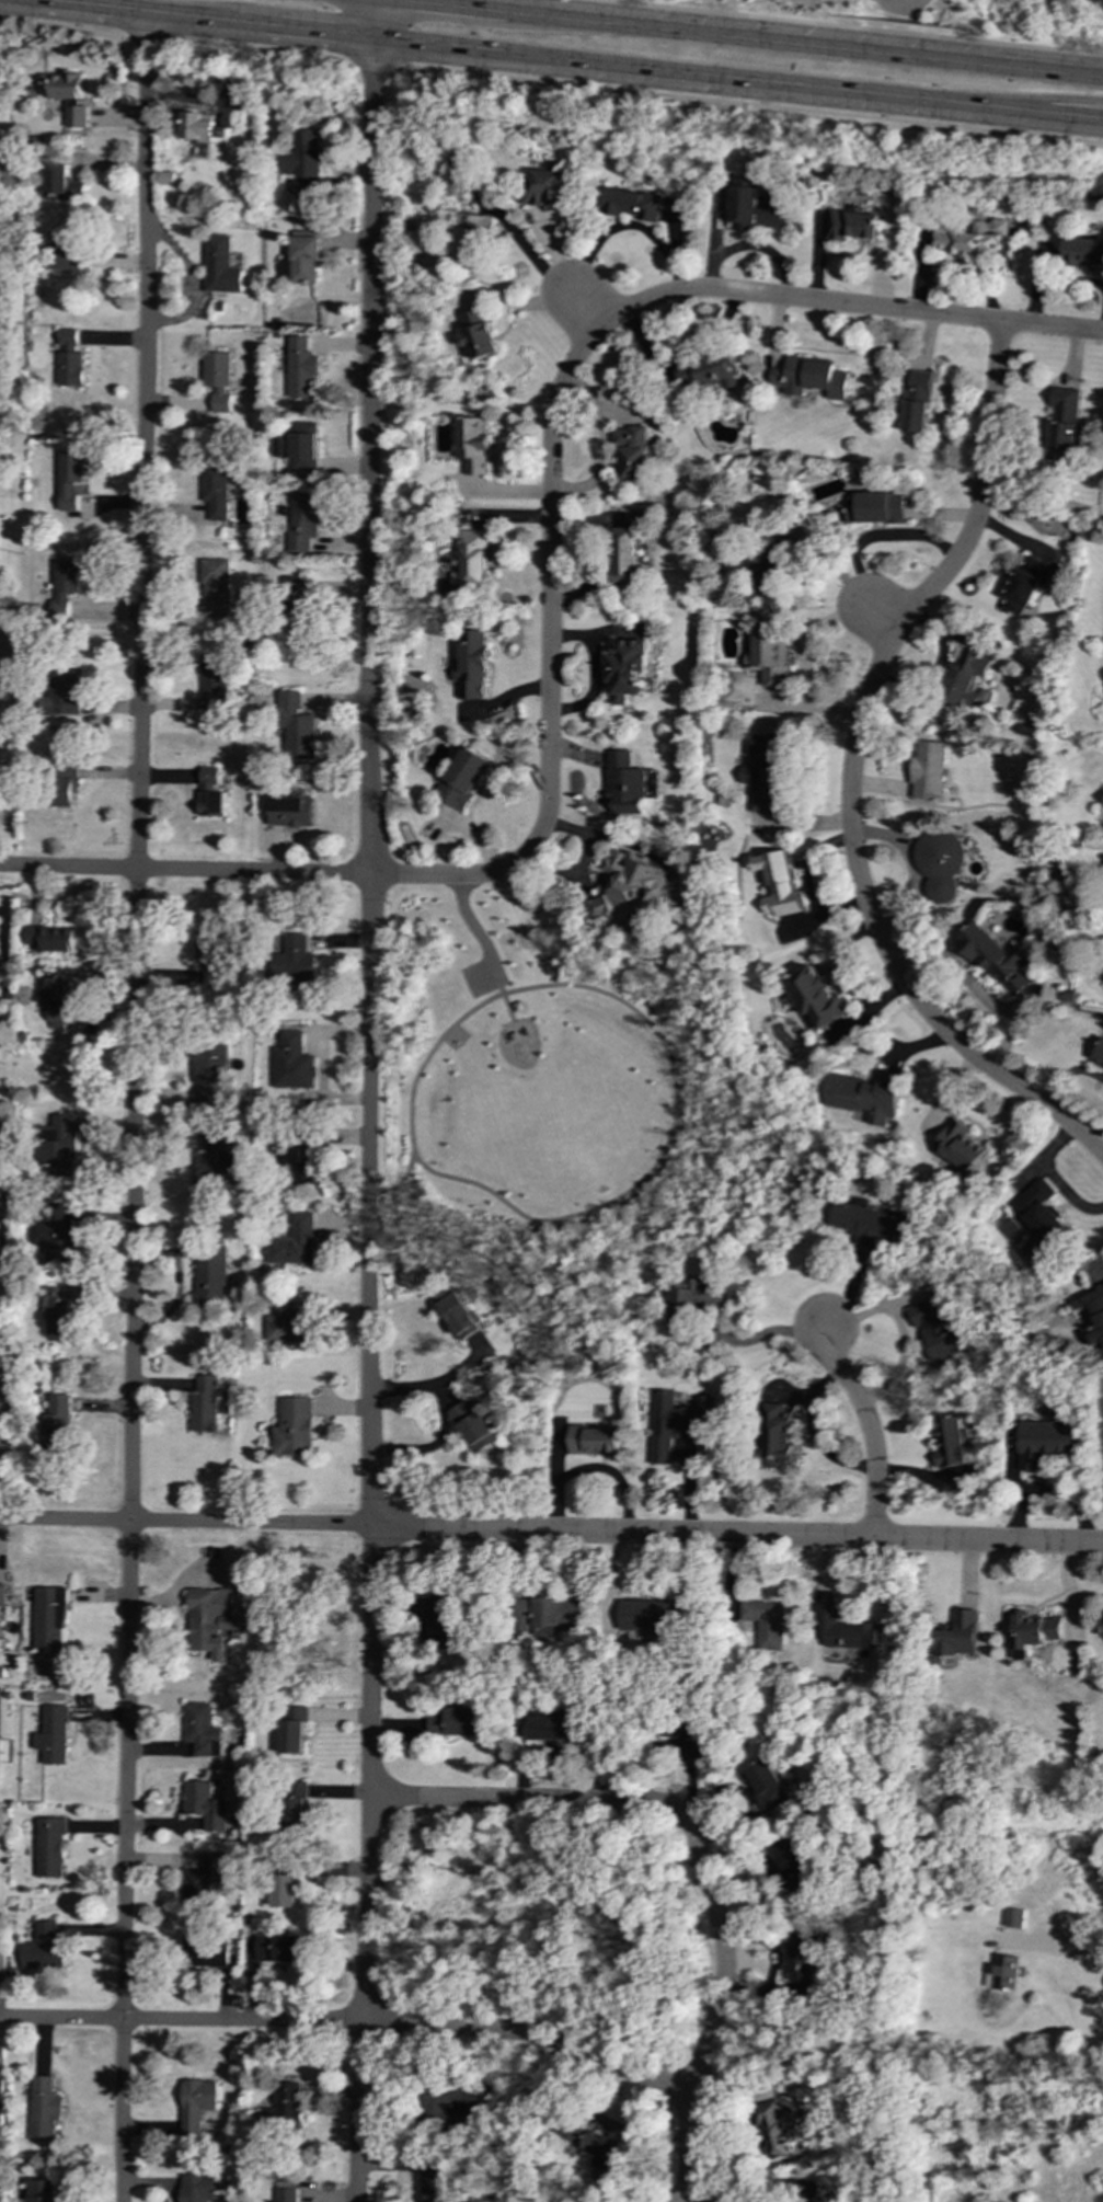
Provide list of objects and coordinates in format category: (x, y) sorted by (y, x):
park: (961, 21)
road: (62, 27)
road: (851, 27)
road: (768, 36)
road: (150, 37)
road: (260, 49)
road: (551, 59)
road: (370, 61)
building: (67, 95)
road: (1021, 100)
road: (749, 104)
road: (1073, 121)
building: (203, 128)
building: (305, 162)
building: (62, 185)
building: (549, 188)
building: (632, 205)
building: (755, 206)
building: (852, 223)
building: (972, 237)
building: (471, 240)
building: (67, 251)
building: (1083, 251)
building: (301, 261)
building: (219, 266)
road: (845, 305)
road: (582, 312)
building: (478, 333)
building: (67, 337)
building: (299, 367)
building: (69, 369)
building: (710, 371)
building: (811, 378)
building: (217, 380)
building: (918, 401)
building: (1064, 425)
building: (0, 437)
building: (300, 446)
building: (632, 450)
building: (69, 478)
building: (216, 491)
building: (874, 507)
building: (302, 521)
building: (780, 555)
building: (471, 558)
building: (627, 558)
building: (67, 576)
road: (550, 581)
building: (1024, 585)
building: (216, 588)
building: (305, 588)
road: (883, 616)
building: (301, 627)
building: (769, 656)
building: (471, 666)
building: (628, 669)
building: (965, 680)
building: (215, 683)
building: (62, 690)
building: (297, 726)
road: (369, 764)
road: (139, 769)
building: (763, 772)
building: (927, 772)
road: (850, 773)
building: (464, 778)
building: (627, 783)
building: (65, 784)
building: (210, 793)
building: (292, 810)
building: (939, 862)
road: (275, 873)
building: (779, 884)
building: (625, 886)
road: (478, 934)
building: (50, 939)
building: (211, 955)
building: (992, 956)
building: (295, 959)
road: (496, 979)
building: (814, 996)
building: (58, 999)
road: (507, 1006)
building: (519, 1007)
park: (453, 1037)
building: (1099, 1056)
building: (292, 1064)
building: (209, 1070)
road: (1065, 1071)
building: (865, 1096)
park: (556, 1101)
building: (59, 1146)
building: (960, 1148)
building: (292, 1161)
building: (215, 1163)
road: (400, 1181)
road: (584, 1212)
building: (1041, 1212)
building: (871, 1224)
building: (53, 1236)
building: (294, 1242)
building: (209, 1275)
building: (690, 1297)
building: (56, 1310)
building: (1091, 1311)
building: (459, 1315)
building: (291, 1323)
building: (937, 1327)
building: (205, 1404)
building: (676, 1423)
building: (58, 1424)
road: (866, 1425)
building: (294, 1427)
building: (473, 1427)
building: (777, 1435)
building: (594, 1441)
building: (950, 1442)
building: (1047, 1442)
road: (551, 1532)
building: (2, 1595)
building: (548, 1615)
building: (650, 1616)
building: (49, 1618)
building: (443, 1619)
building: (211, 1620)
building: (763, 1622)
building: (845, 1629)
building: (1034, 1632)
building: (960, 1635)
road: (337, 1713)
building: (458, 1722)
building: (294, 1729)
building: (551, 1729)
building: (202, 1731)
building: (51, 1735)
building: (687, 1739)
building: (766, 1787)
building: (205, 1805)
building: (295, 1809)
building: (49, 1848)
road: (699, 1854)
building: (793, 1859)
road: (123, 1862)
road: (367, 1865)
building: (203, 1880)
building: (1014, 1917)
building: (192, 1943)
building: (43, 1948)
building: (280, 1948)
road: (1066, 1953)
building: (801, 1958)
building: (2, 1969)
building: (1003, 1973)
road: (349, 2023)
building: (451, 2102)
building: (196, 2104)
building: (282, 2107)
building: (45, 2109)
building: (774, 2132)
building: (593, 2146)
building: (434, 2187)
building: (197, 2188)
building: (44, 2191)
building: (287, 2194)
road: (687, 2200)

